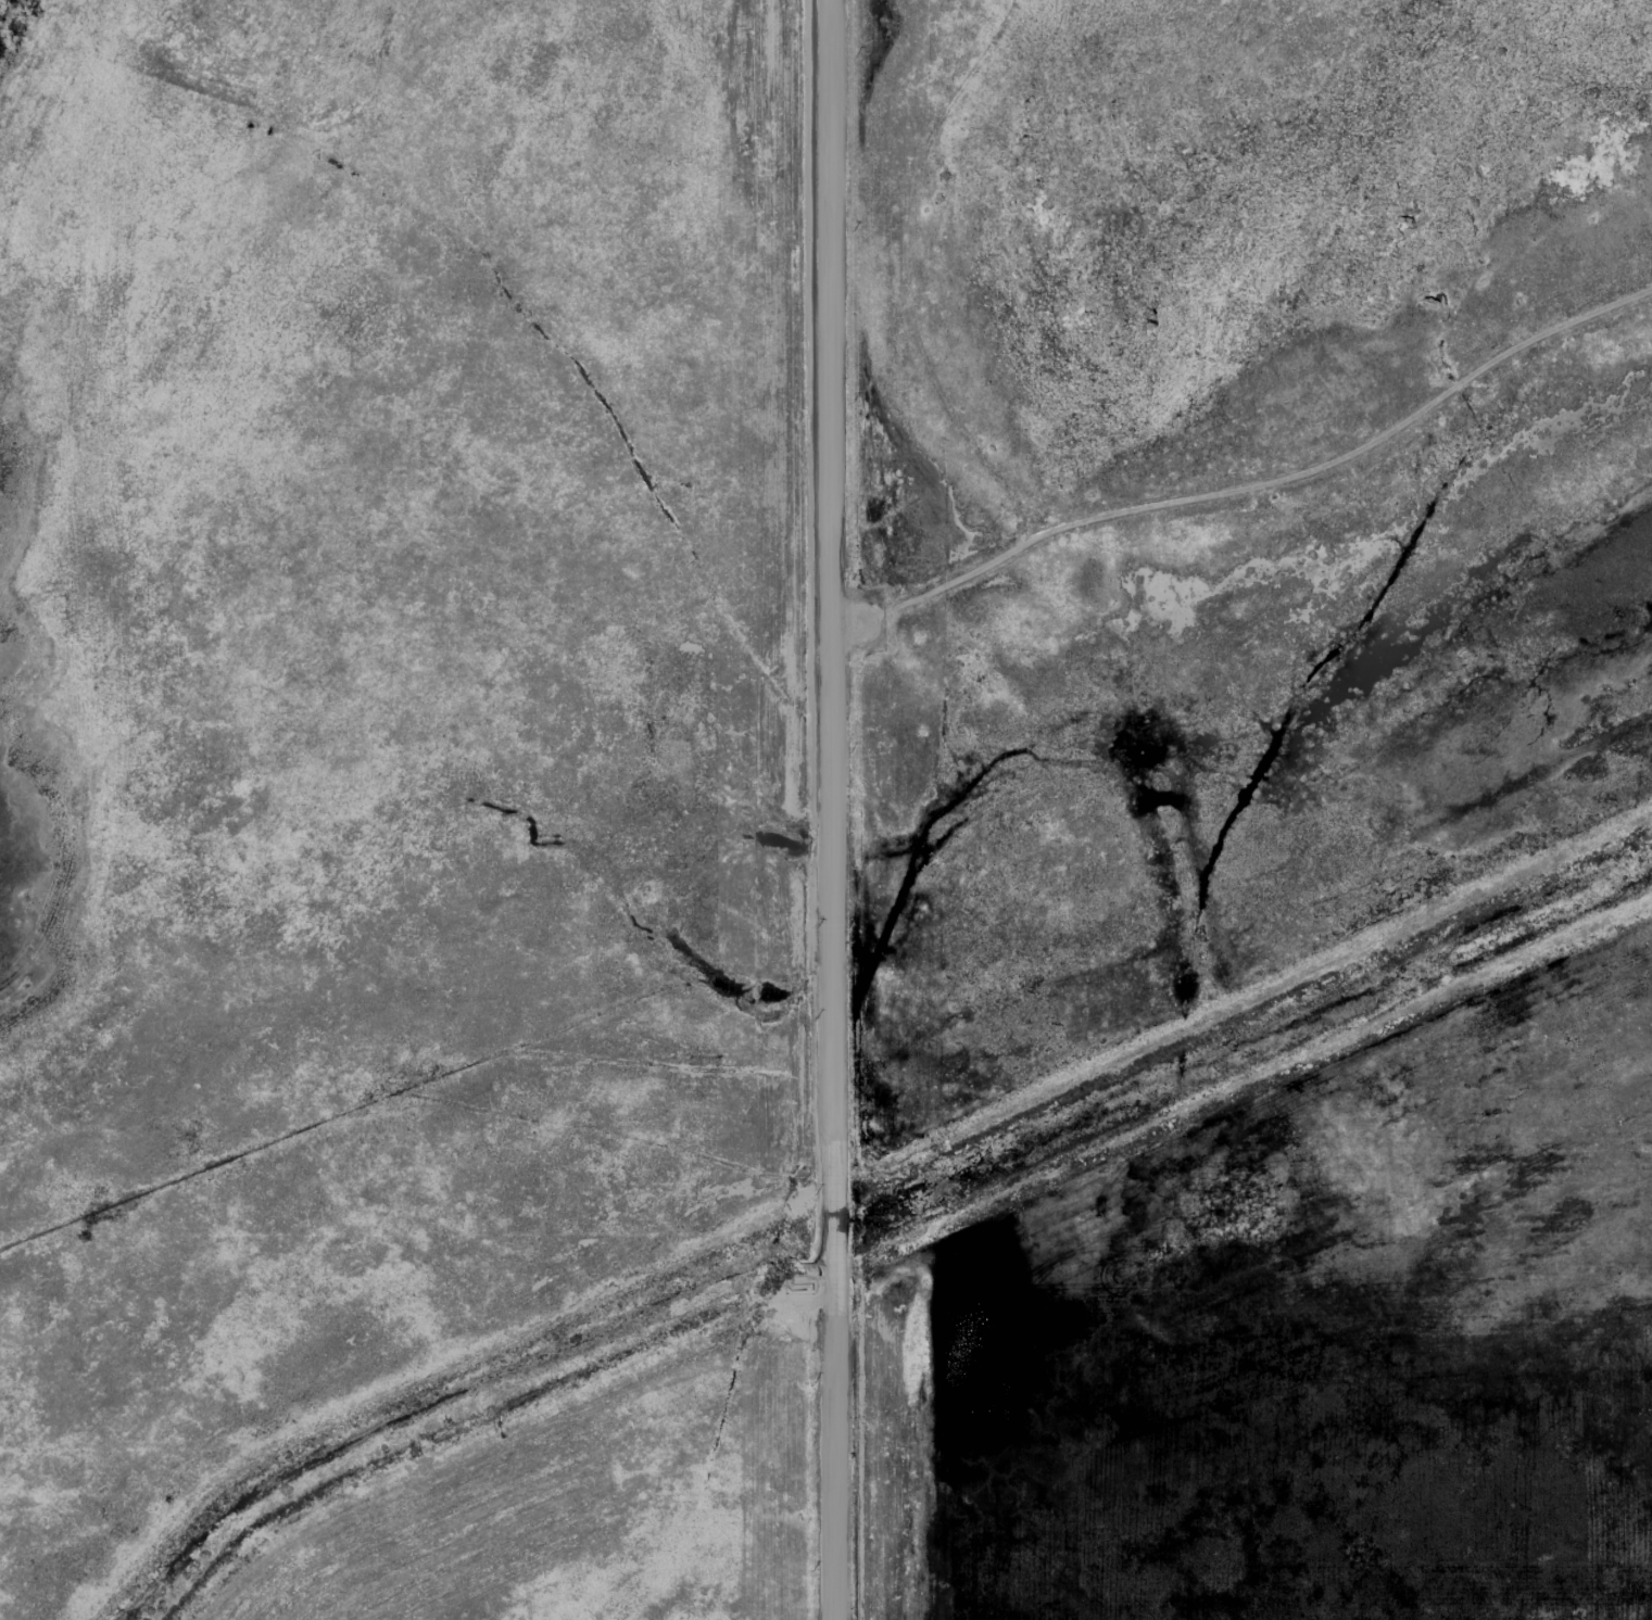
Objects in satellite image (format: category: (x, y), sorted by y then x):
road: (1229, 455)
road: (829, 573)
river: (872, 1223)
road: (831, 1227)
road: (834, 1463)

